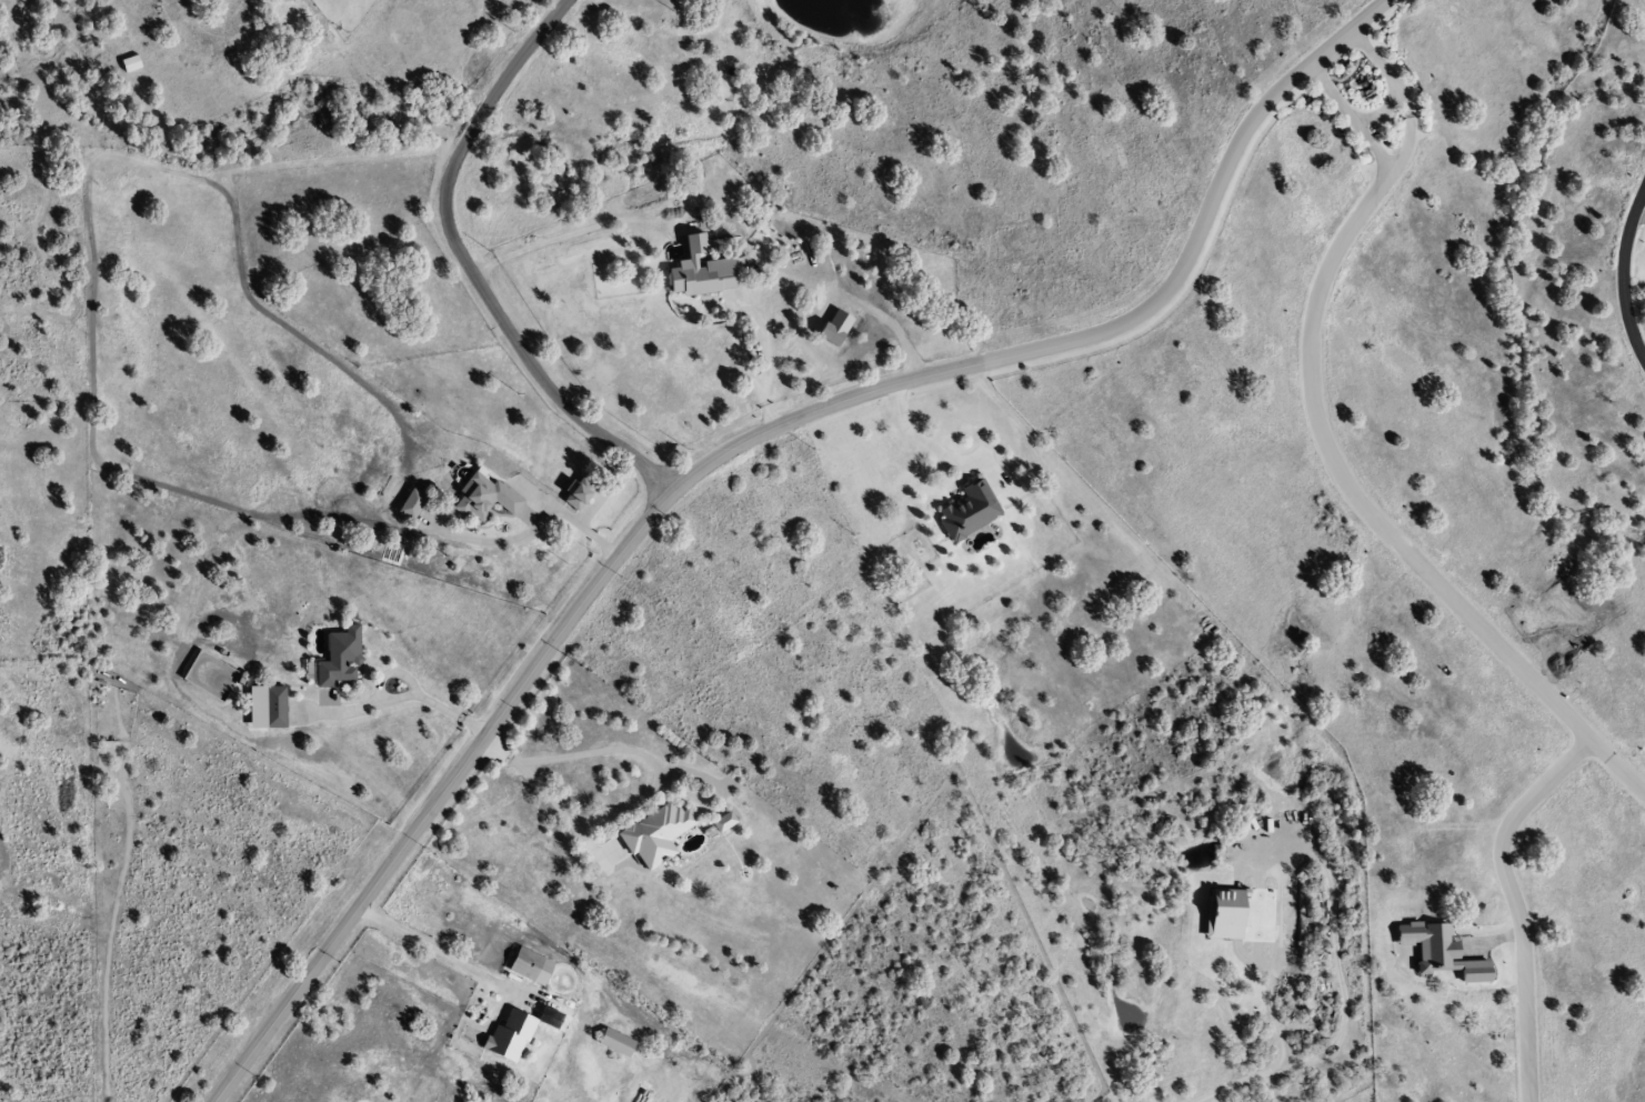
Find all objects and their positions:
road: (1045, 2)
road: (1030, 18)
road: (1030, 18)
parking lot: (1294, 22)
building: (127, 64)
road: (1167, 97)
park: (1024, 140)
road: (1403, 151)
road: (950, 183)
road: (467, 266)
building: (696, 272)
road: (1622, 275)
road: (752, 311)
road: (876, 388)
building: (572, 497)
building: (482, 499)
building: (409, 504)
road: (1371, 511)
building: (966, 512)
road: (531, 525)
building: (335, 660)
building: (270, 708)
building: (655, 834)
road: (1514, 900)
building: (529, 966)
road: (309, 979)
building: (498, 1036)
building: (613, 1042)

